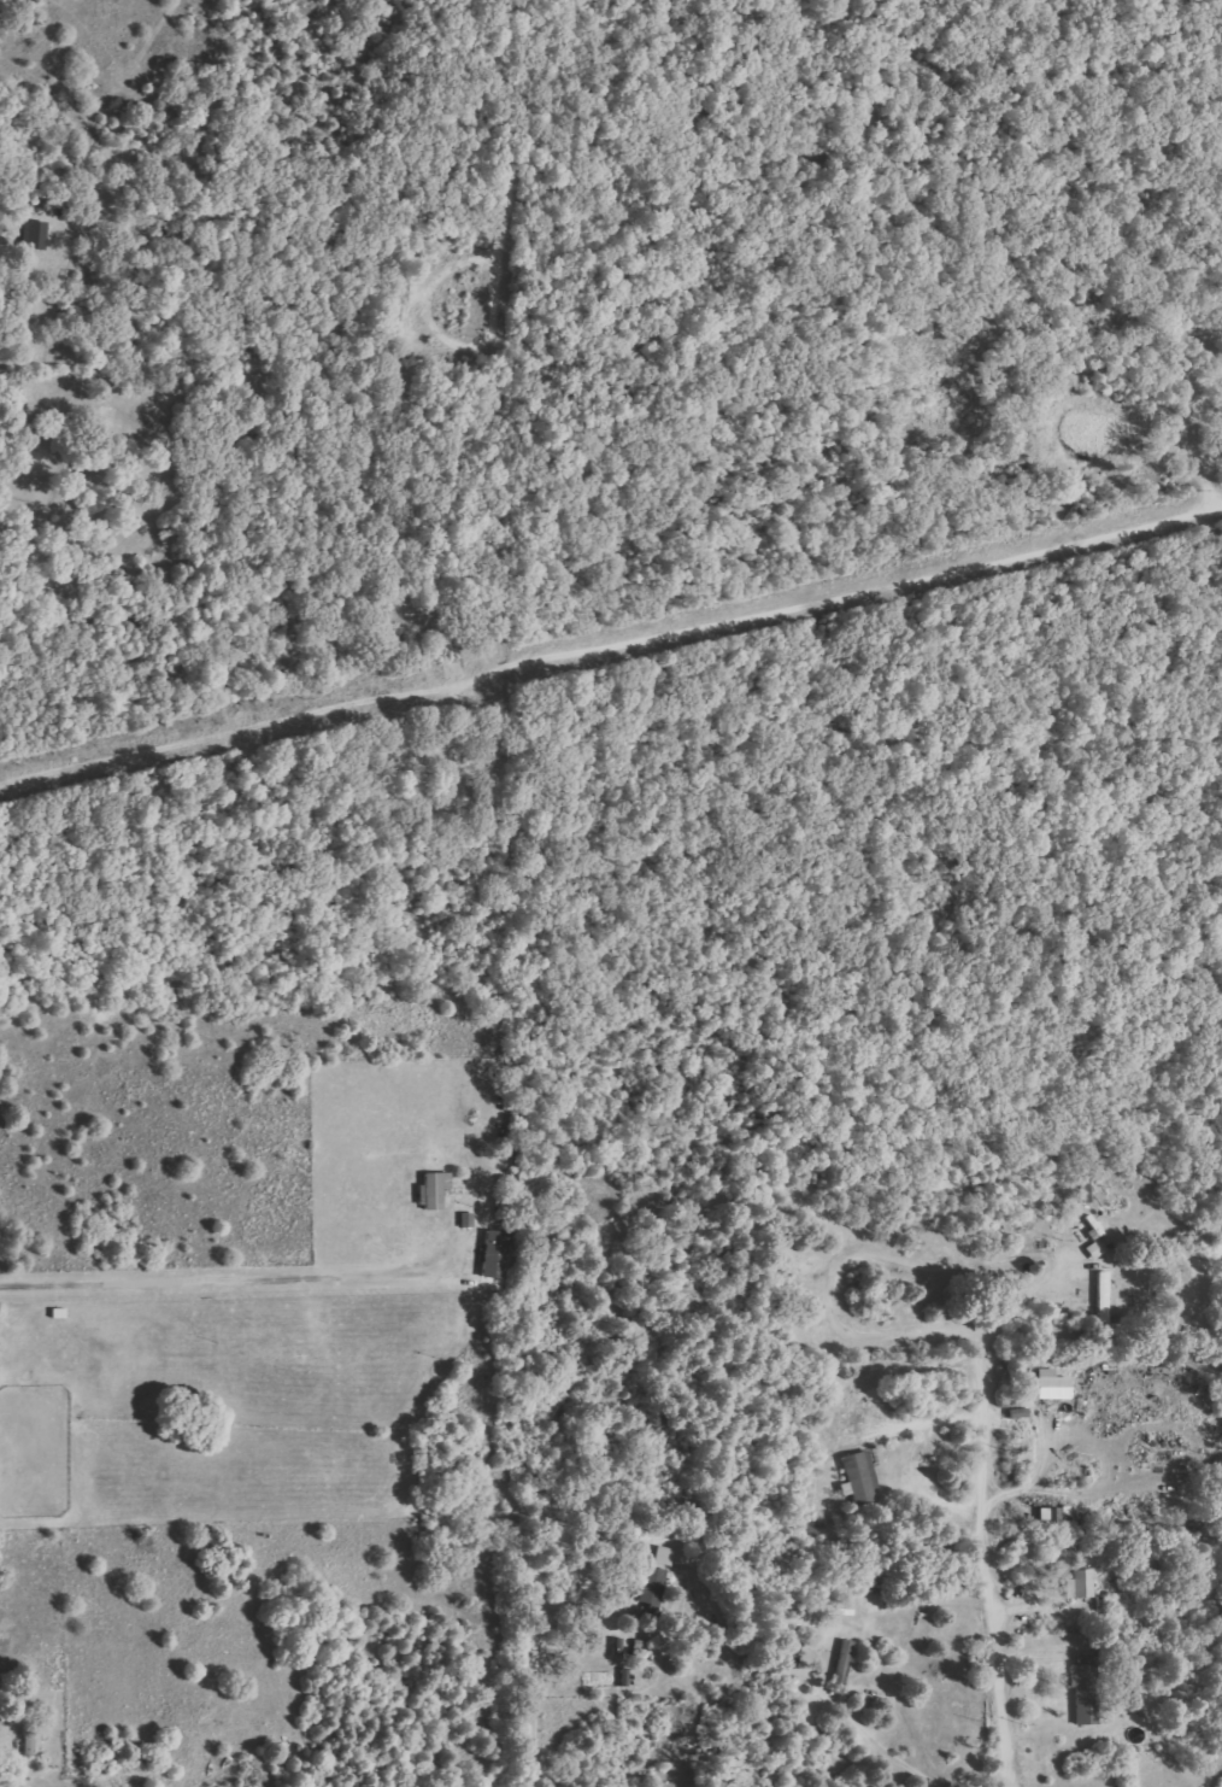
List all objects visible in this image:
building: (36, 234)
road: (215, 793)
building: (436, 1189)
building: (1097, 1249)
building: (495, 1253)
building: (1053, 1384)
building: (840, 1390)
building: (860, 1477)
building: (1054, 1514)
building: (665, 1555)
road: (994, 1572)
building: (1081, 1583)
building: (654, 1586)
building: (622, 1646)
building: (842, 1666)
building: (1086, 1687)
building: (29, 1741)

